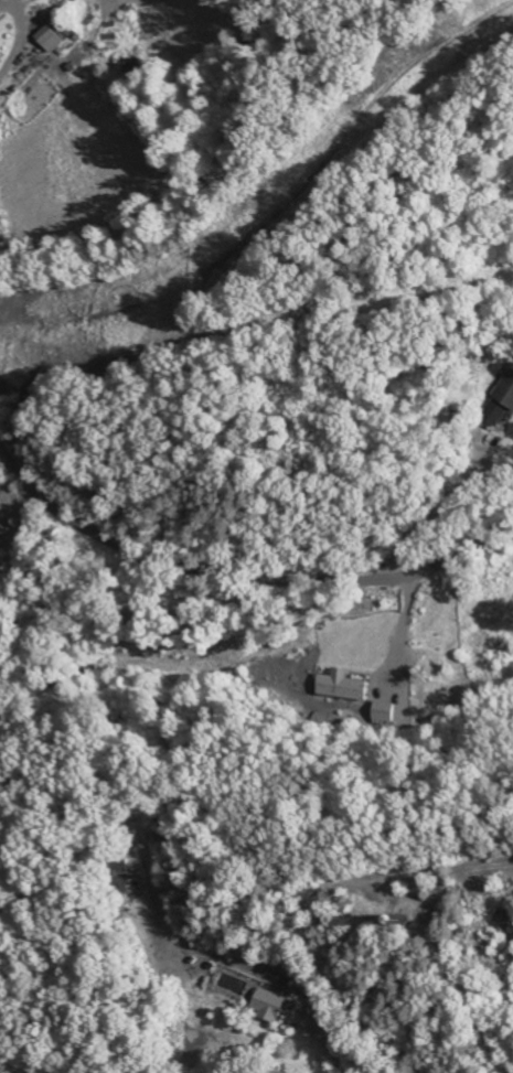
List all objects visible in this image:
building: (54, 39)
road: (13, 47)
road: (434, 514)
road: (244, 577)
road: (405, 633)
road: (264, 751)
road: (158, 926)
road: (332, 978)
building: (276, 1005)

